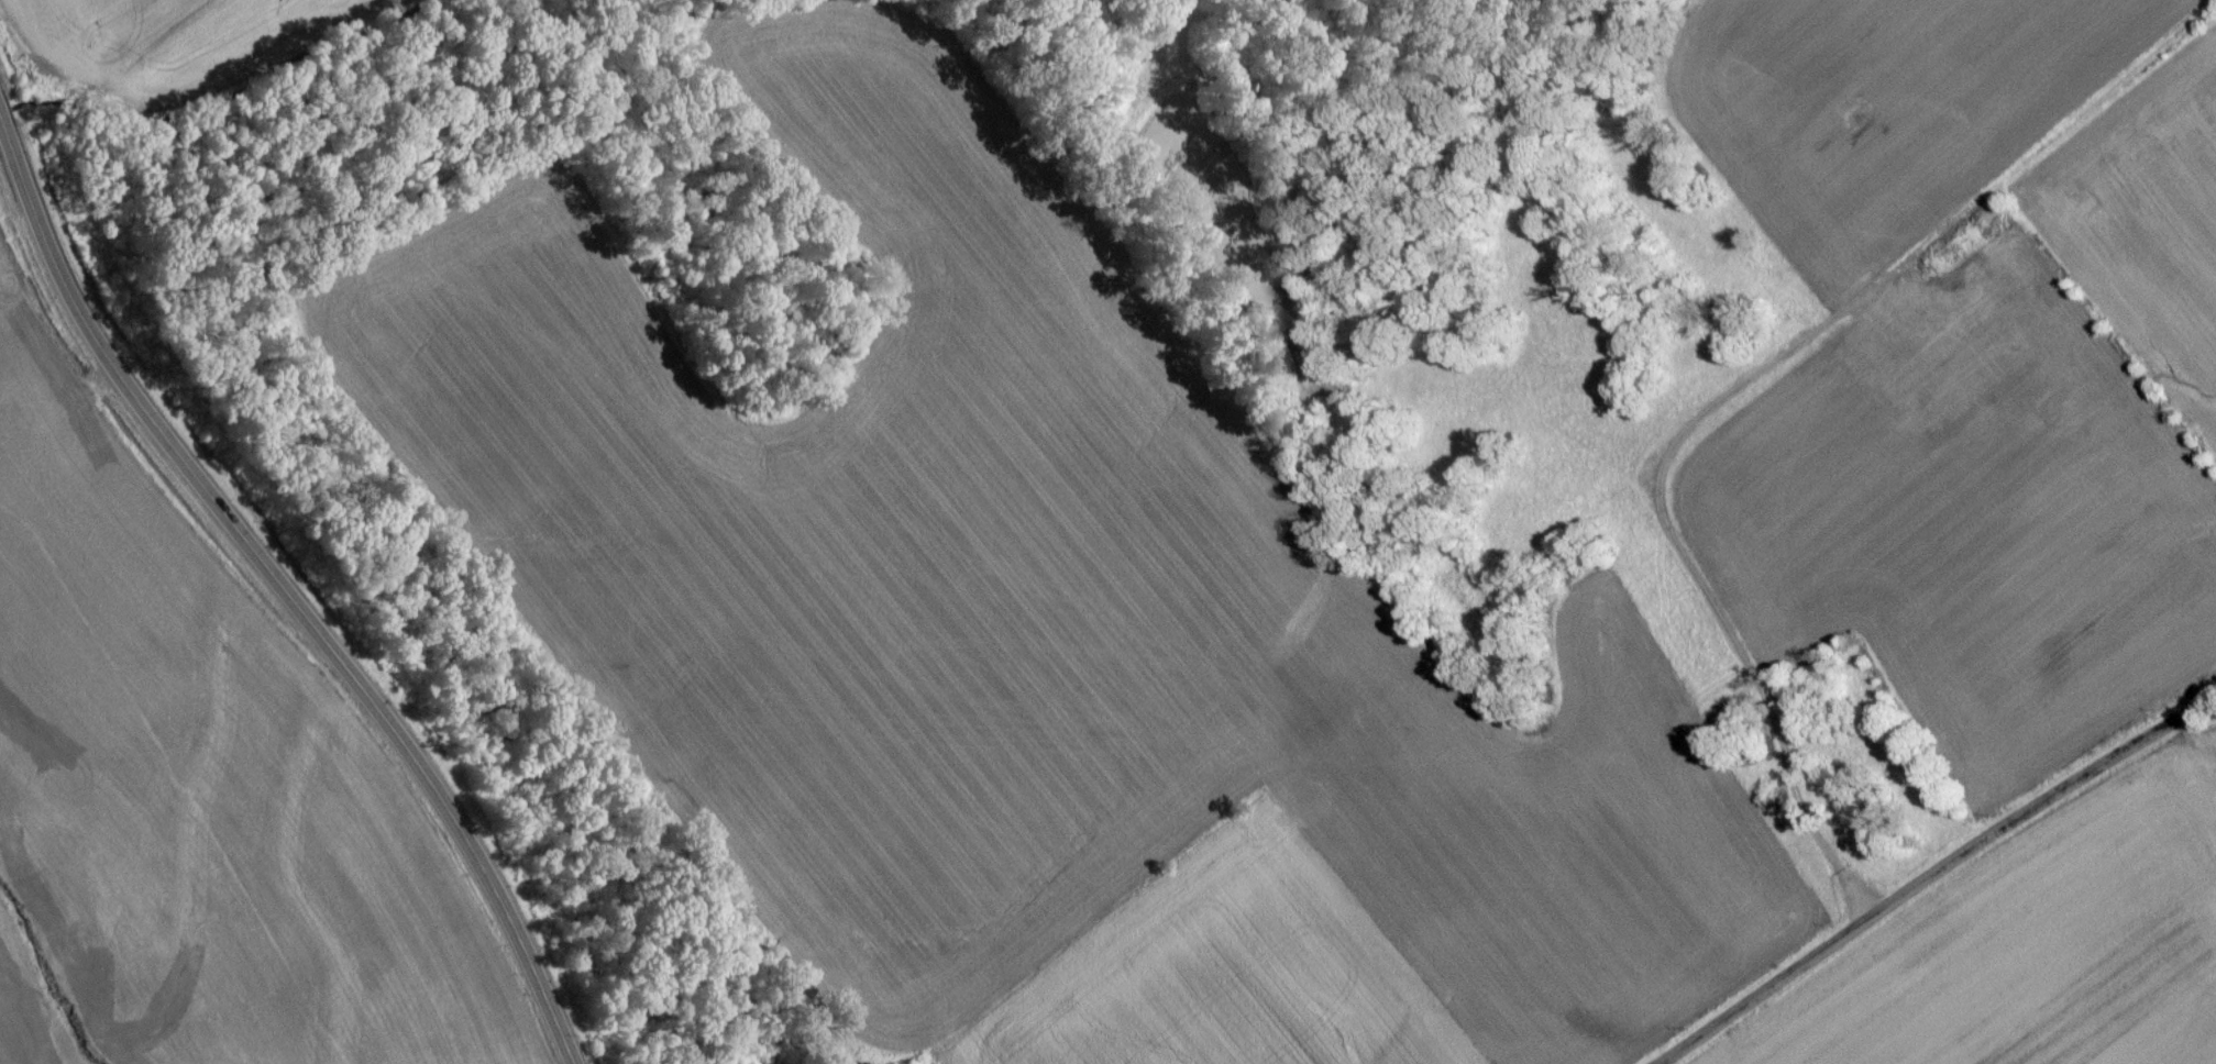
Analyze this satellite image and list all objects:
road: (283, 595)
road: (1936, 877)

